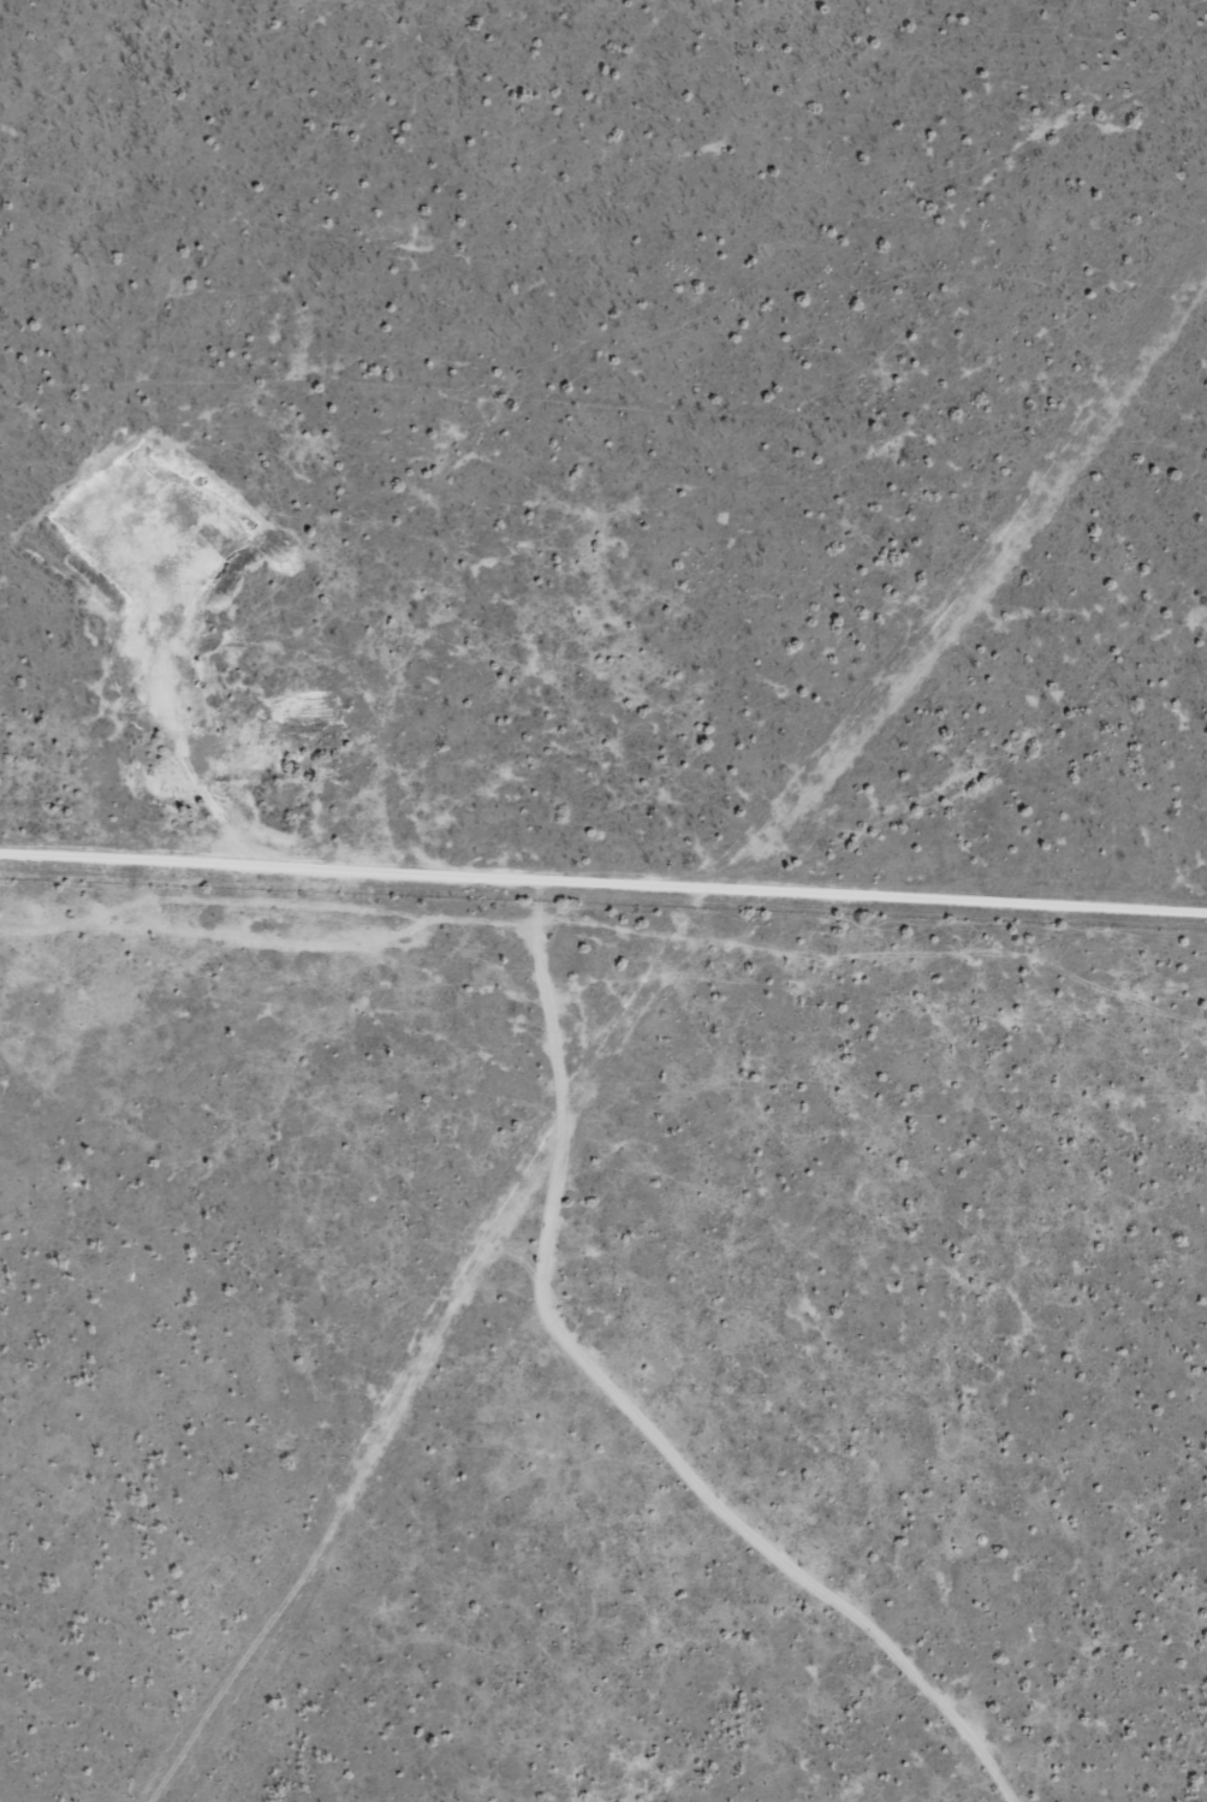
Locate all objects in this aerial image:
road: (1022, 757)
road: (601, 924)

